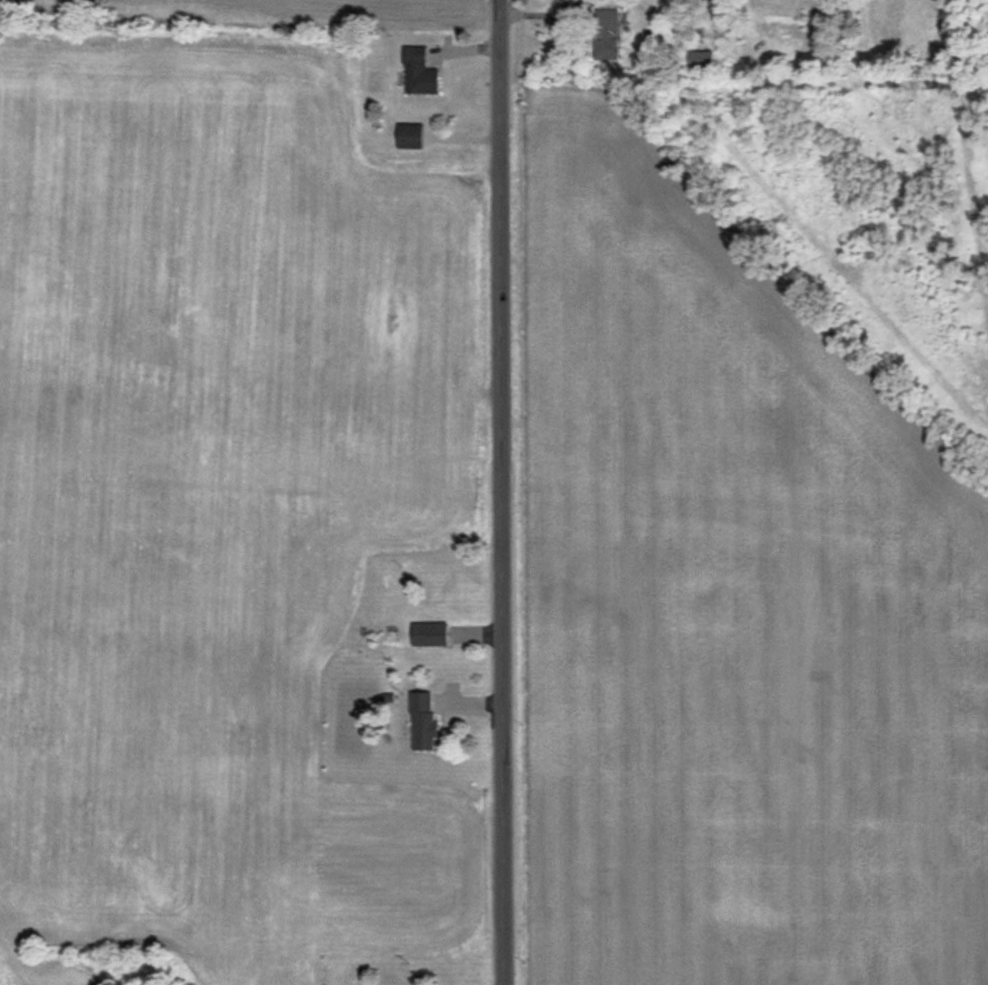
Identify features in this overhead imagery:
building: (605, 33)
building: (700, 58)
building: (418, 73)
building: (409, 137)
road: (502, 492)
building: (428, 588)
crop: (731, 606)
building: (428, 634)
building: (422, 721)

